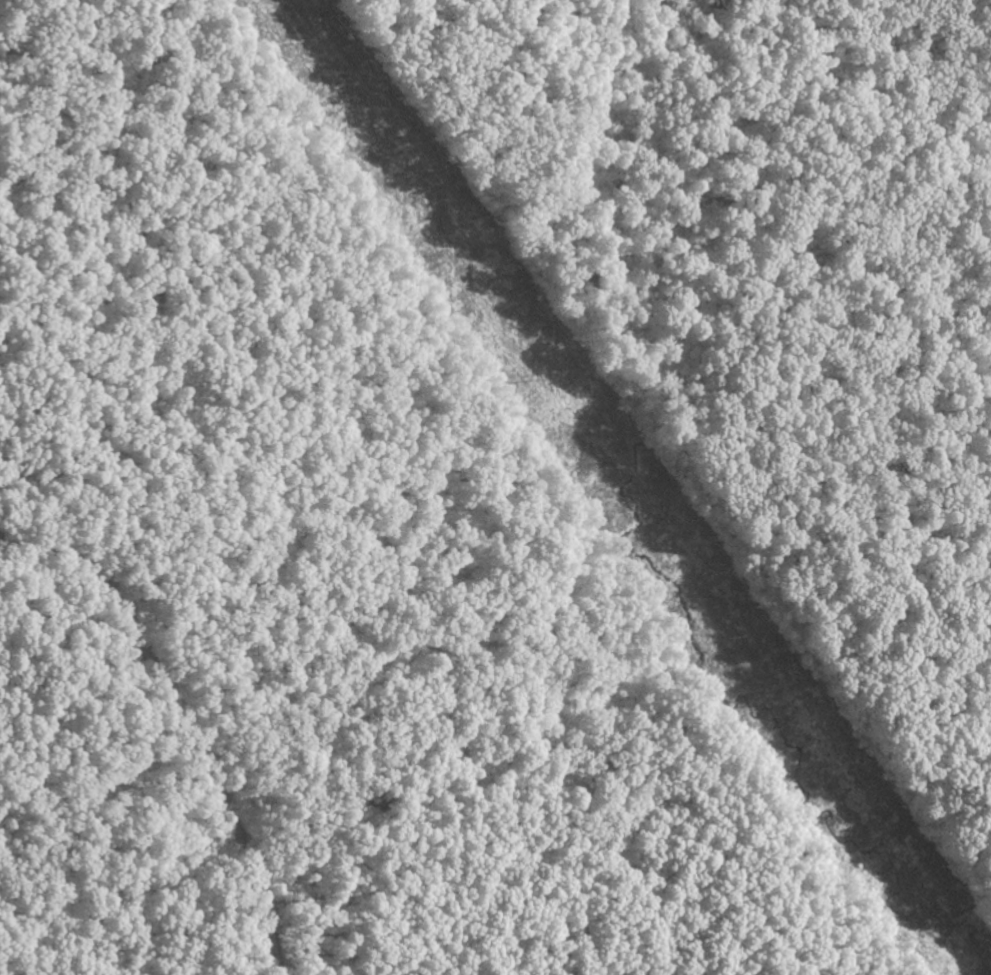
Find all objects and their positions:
power tower: (299, 41)
power tower: (541, 378)
power tower: (773, 702)
road: (182, 719)

